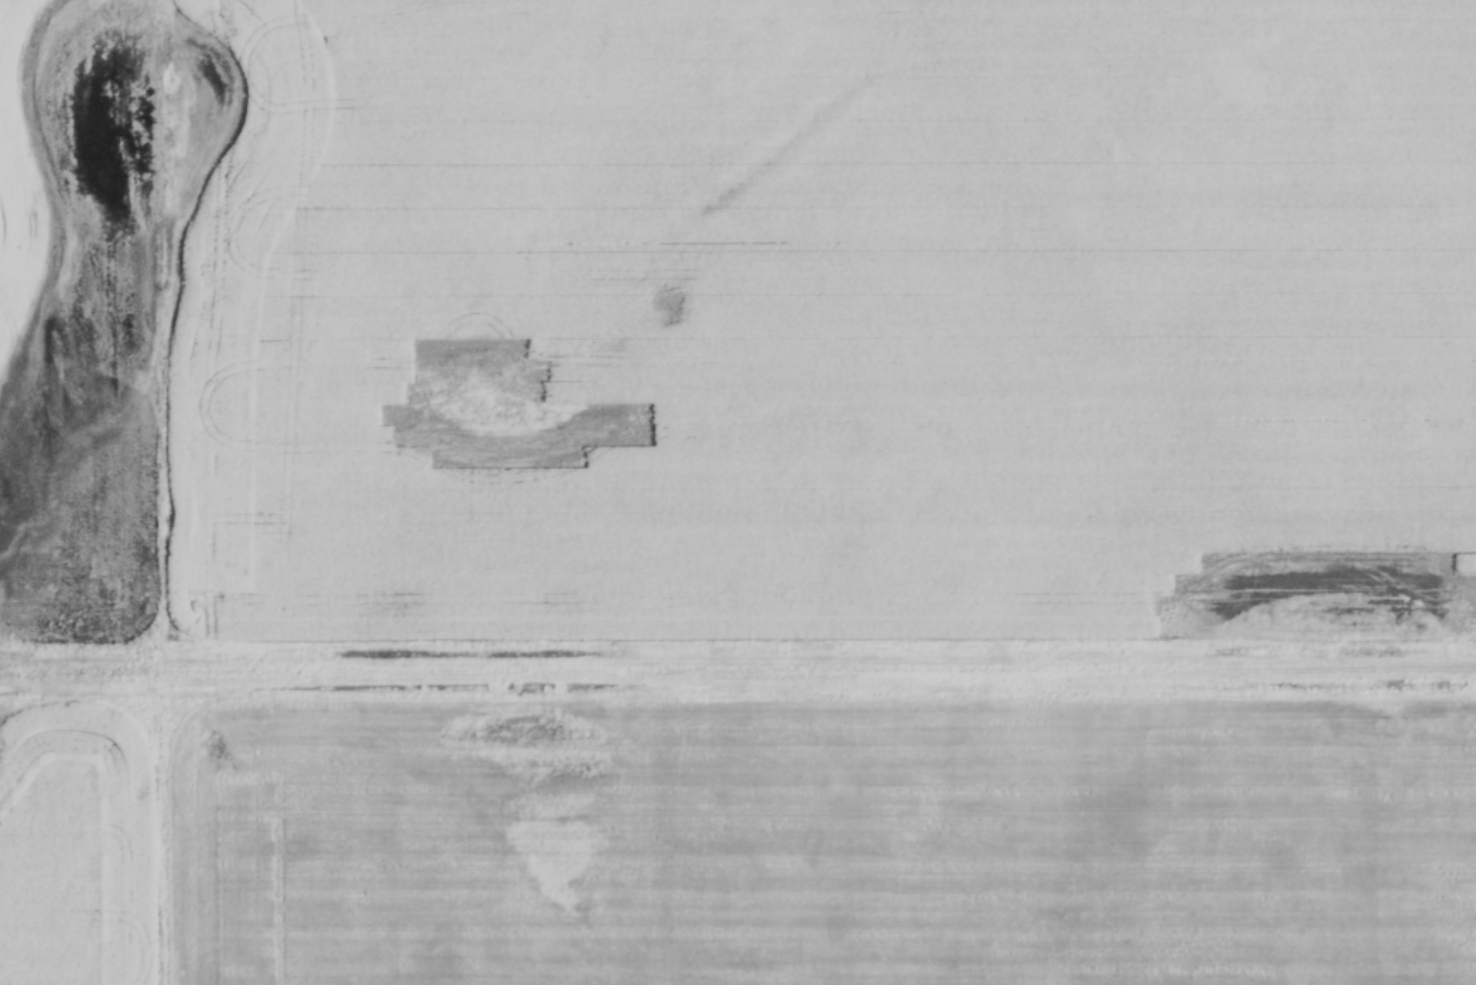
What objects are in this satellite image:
road: (737, 688)

